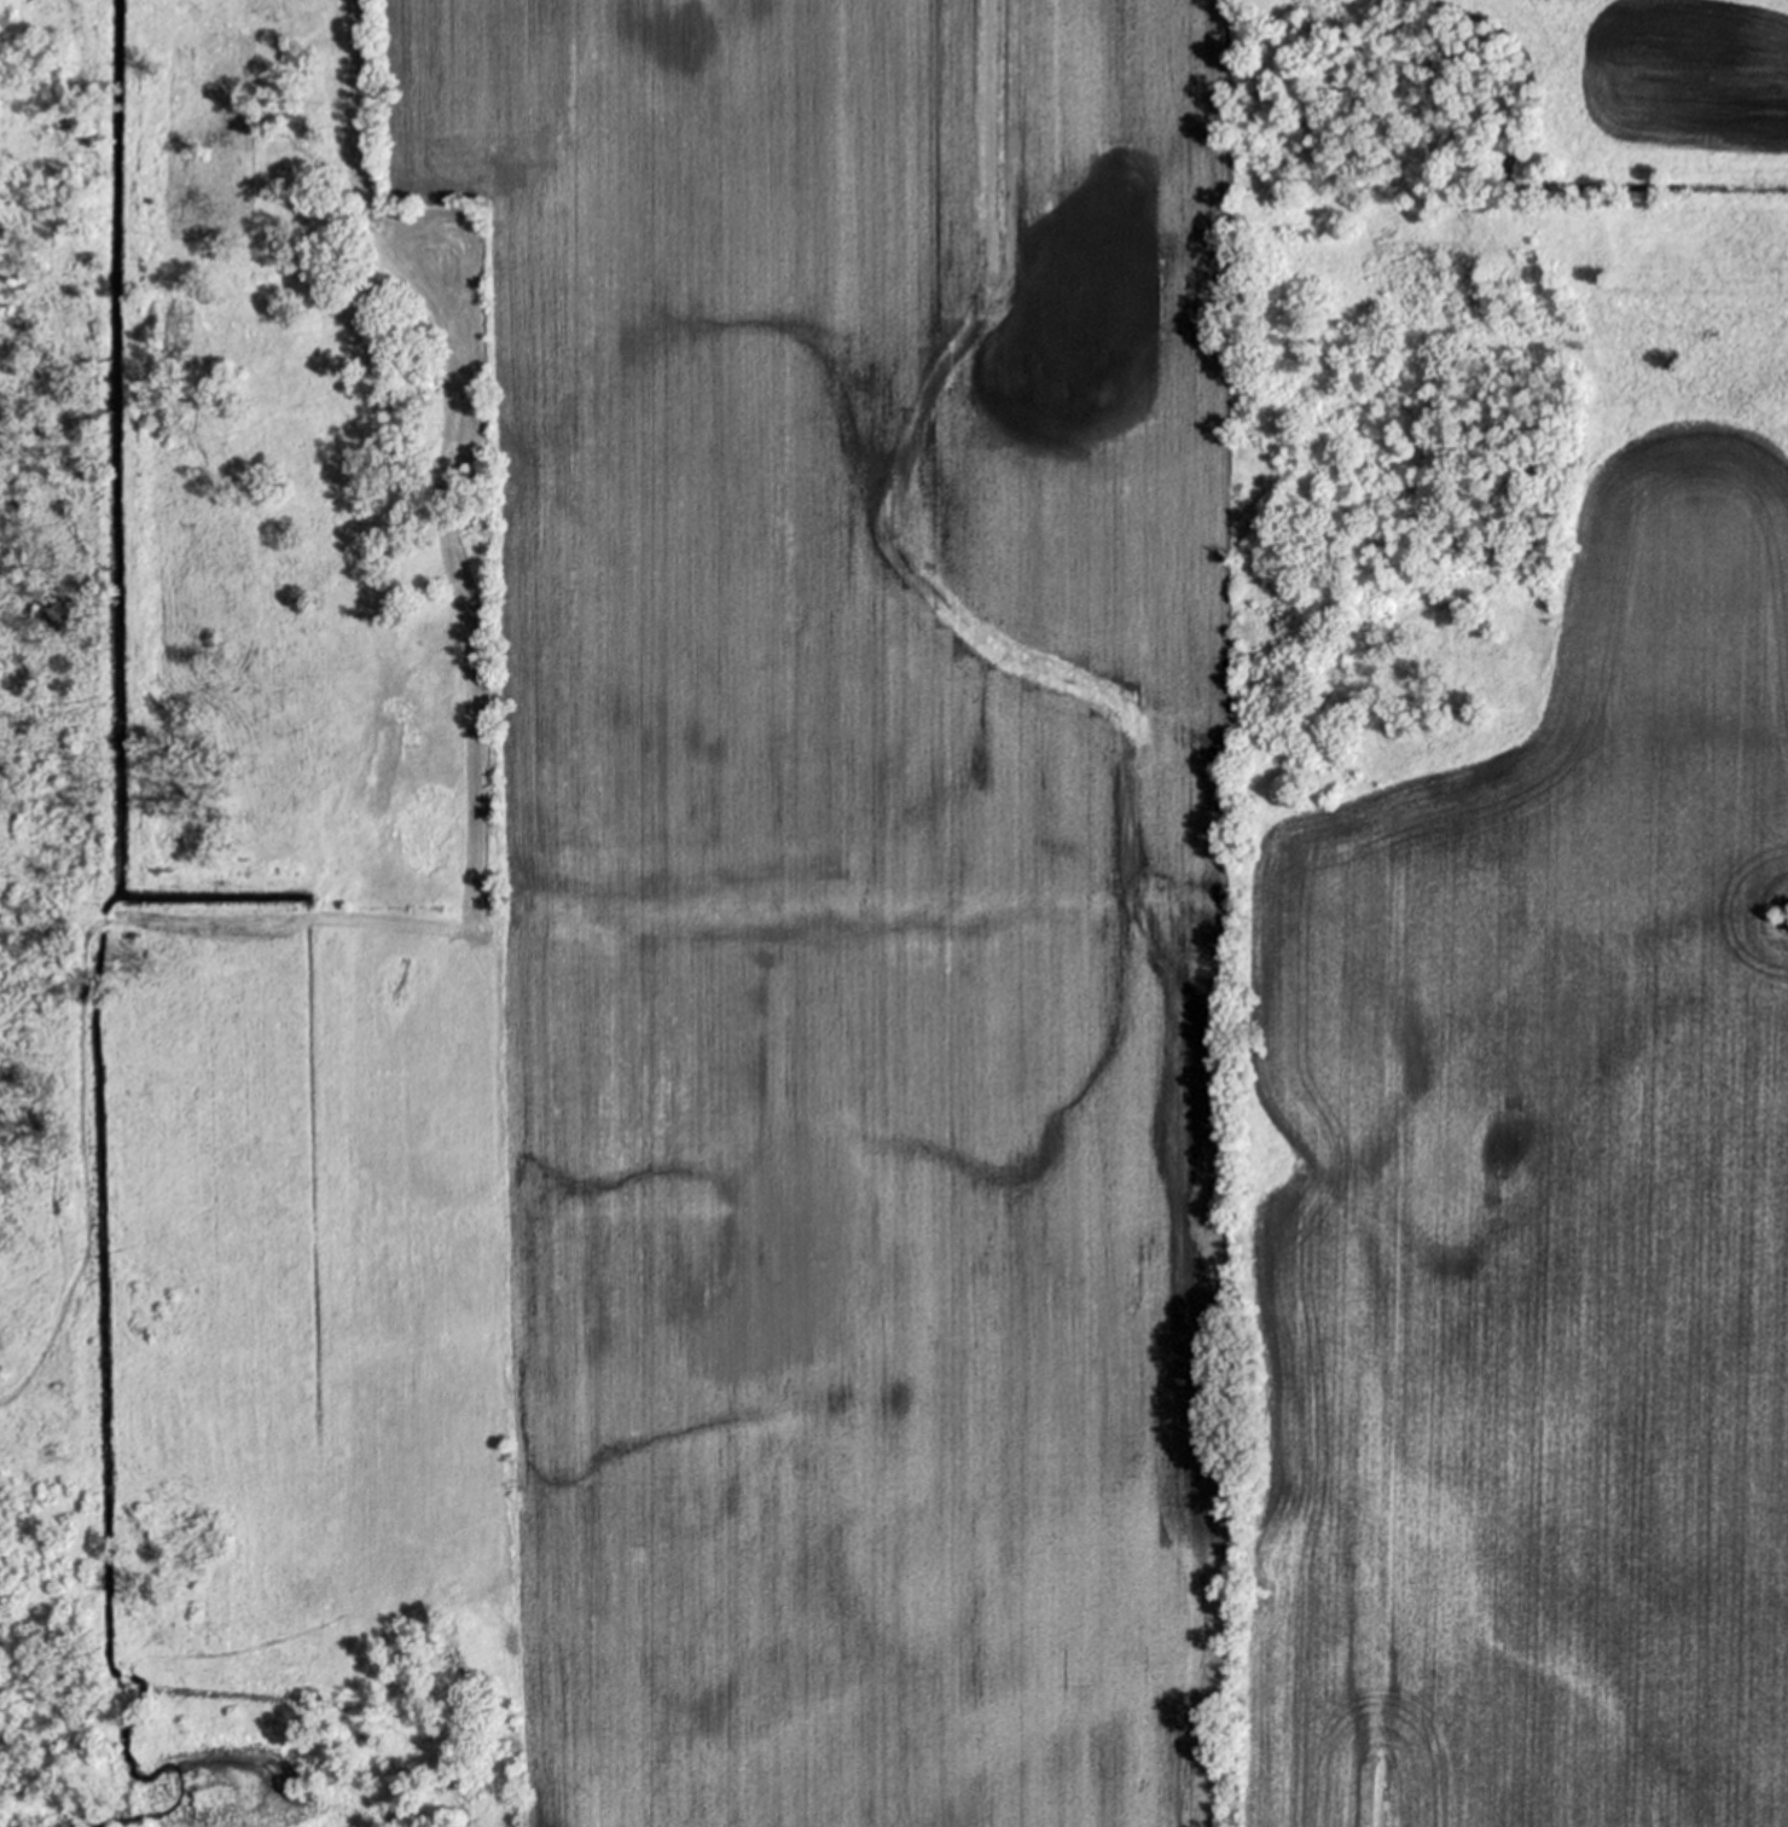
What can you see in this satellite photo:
building: (308, 918)
building: (115, 1674)

